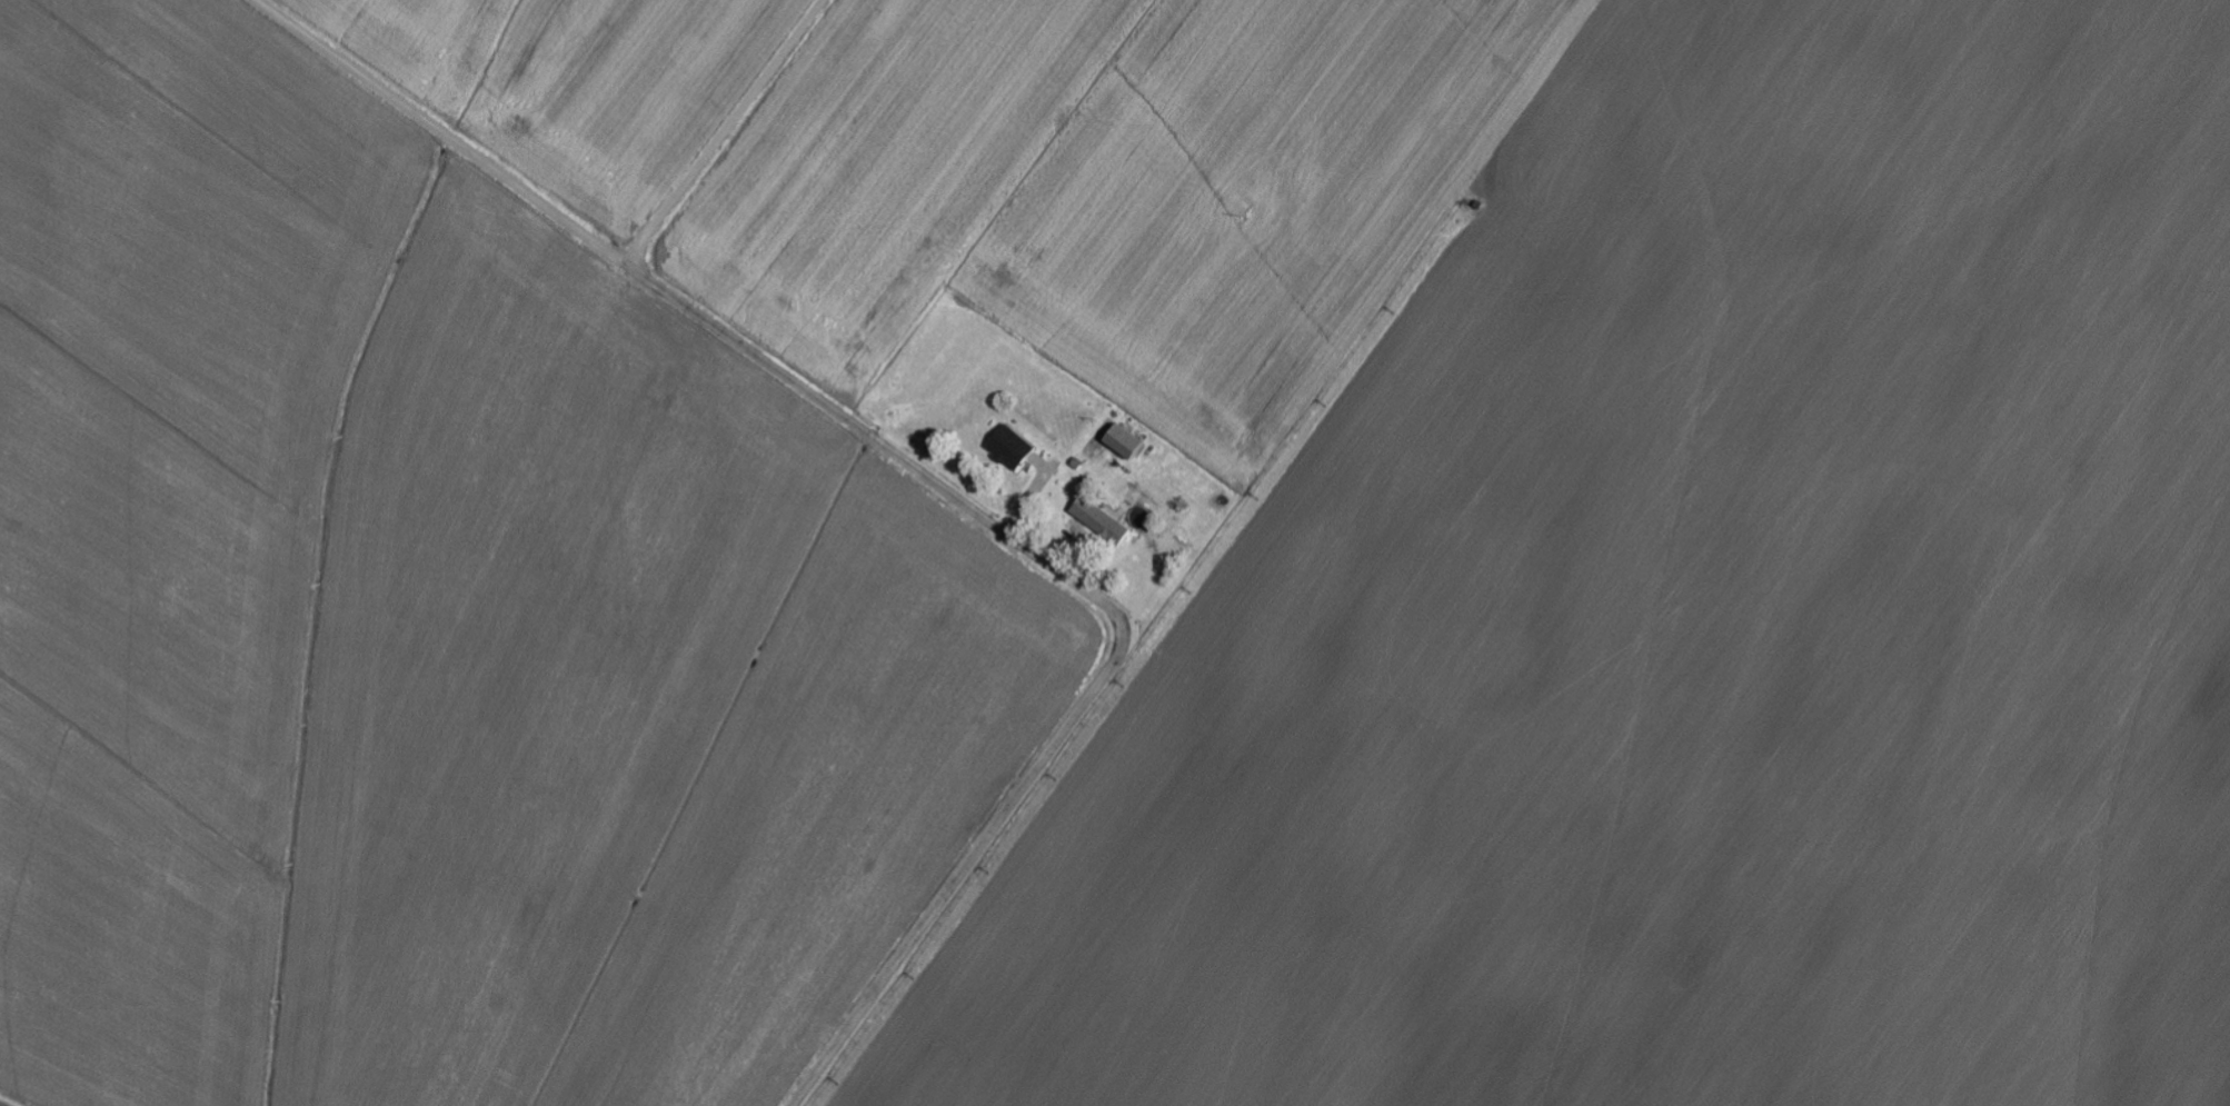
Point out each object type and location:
road: (748, 139)
building: (1126, 442)
building: (1013, 448)
road: (932, 480)
building: (1109, 527)

